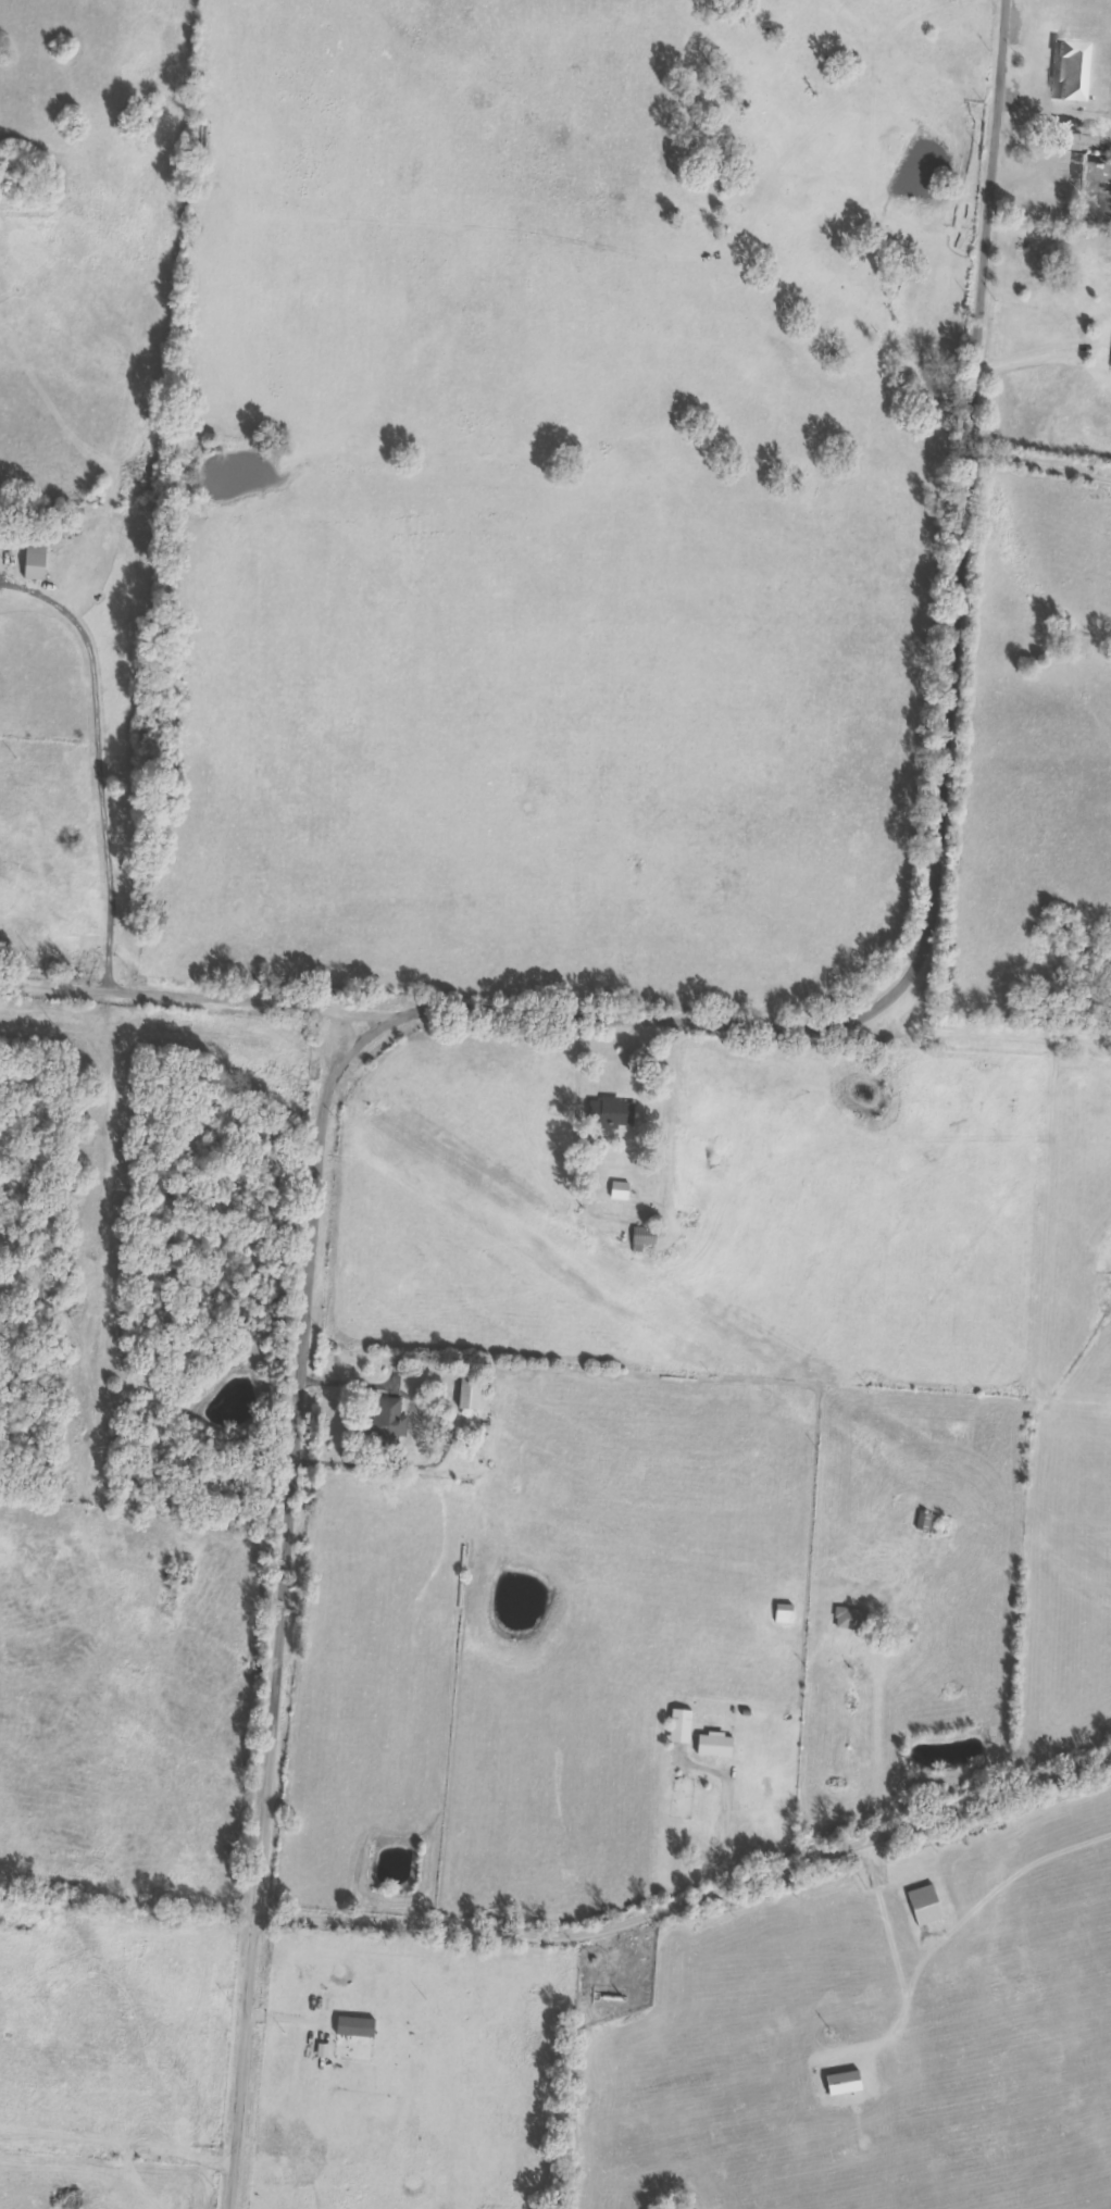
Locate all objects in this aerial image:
building: (1070, 71)
building: (1084, 143)
road: (1044, 352)
building: (36, 563)
road: (104, 764)
road: (936, 795)
road: (170, 991)
road: (369, 1077)
building: (614, 1113)
building: (621, 1191)
building: (471, 1394)
building: (389, 1423)
building: (927, 1523)
building: (785, 1614)
building: (851, 1620)
road: (284, 1623)
building: (682, 1727)
building: (716, 1746)
road: (729, 1809)
building: (926, 1907)
road: (692, 1912)
building: (355, 2029)
building: (324, 2052)
building: (845, 2085)

